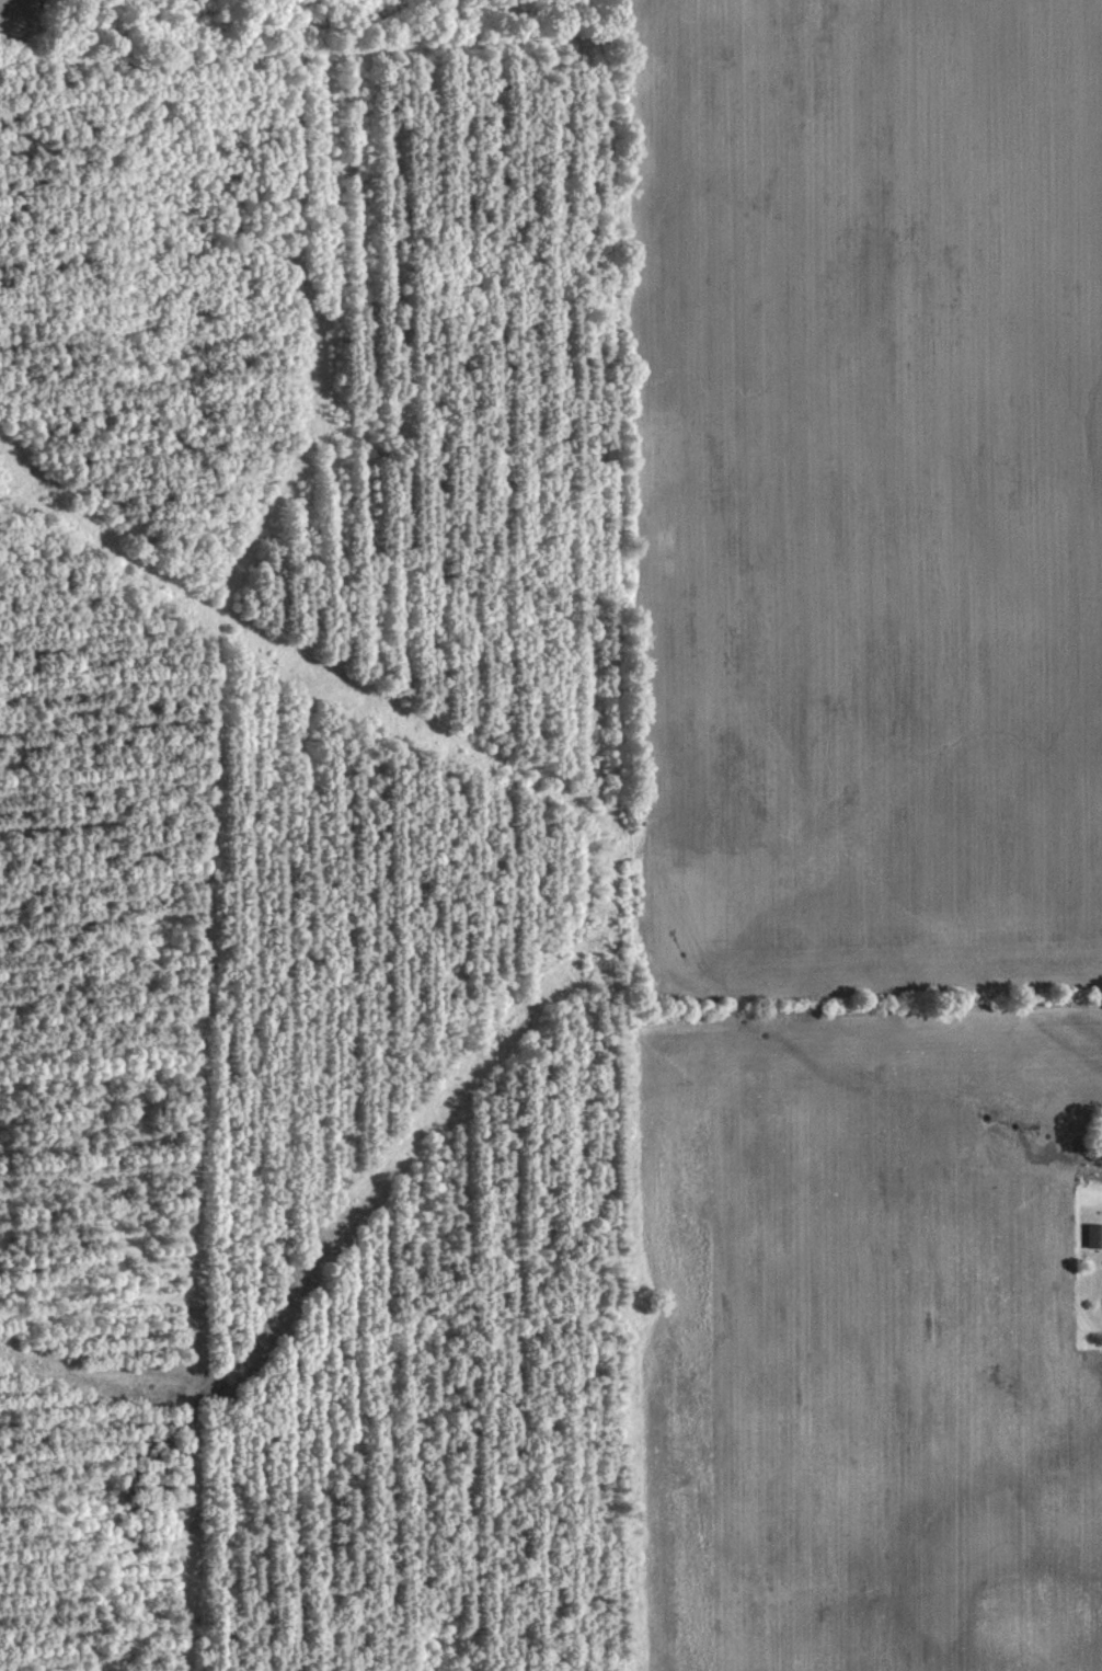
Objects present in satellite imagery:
building: (1094, 1233)

